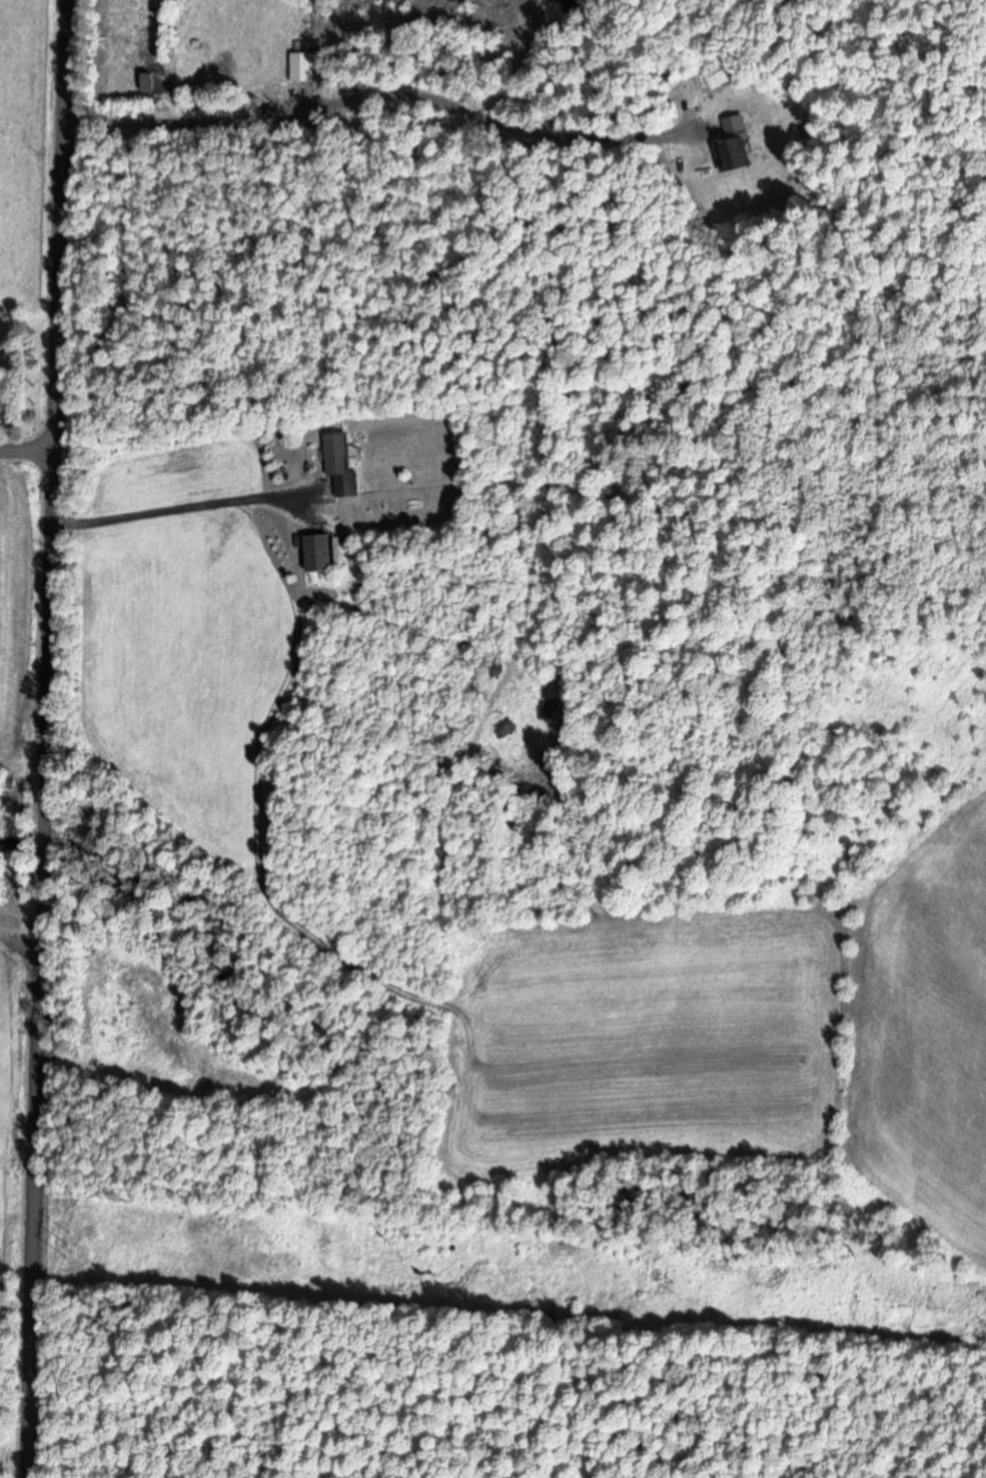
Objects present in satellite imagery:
building: (305, 70)
building: (740, 147)
road: (31, 429)
building: (344, 468)
building: (324, 555)
road: (53, 739)
power tower: (70, 1246)
power tower: (674, 1288)

